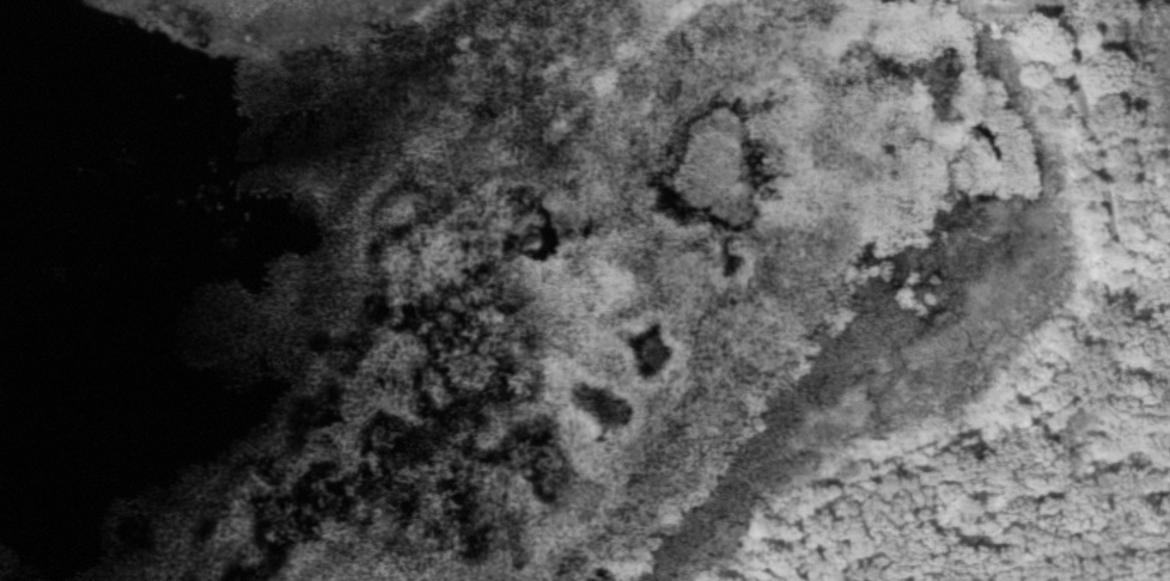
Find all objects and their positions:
road: (1095, 163)
road: (1105, 469)

